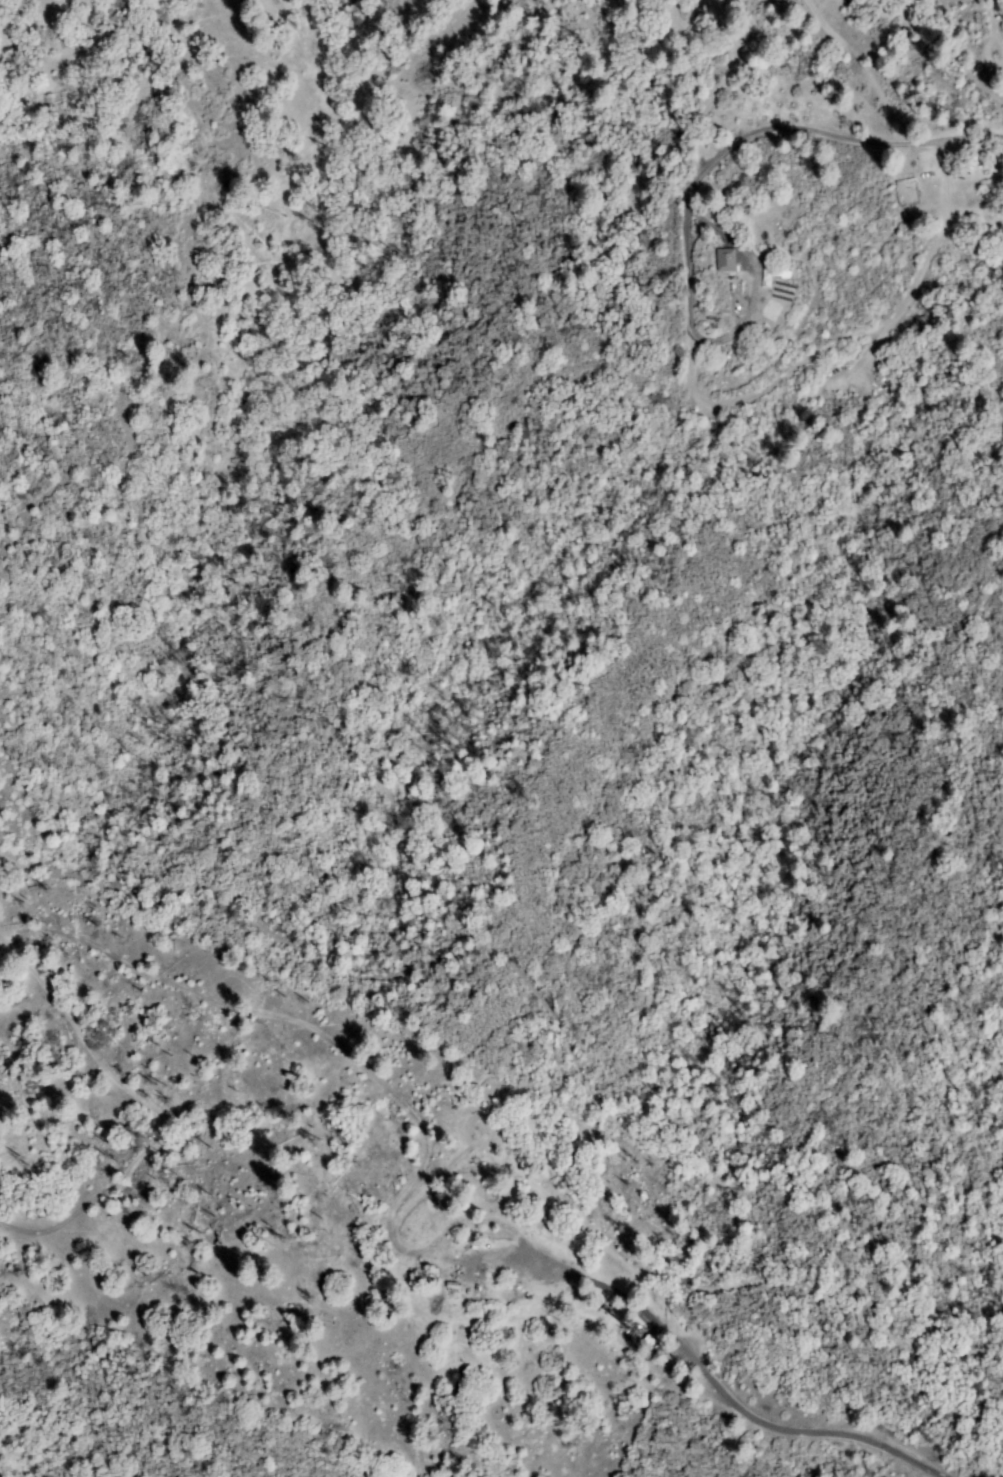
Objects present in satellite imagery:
building: (716, 260)
building: (727, 261)
road: (499, 1173)
building: (484, 1282)
building: (651, 1341)

